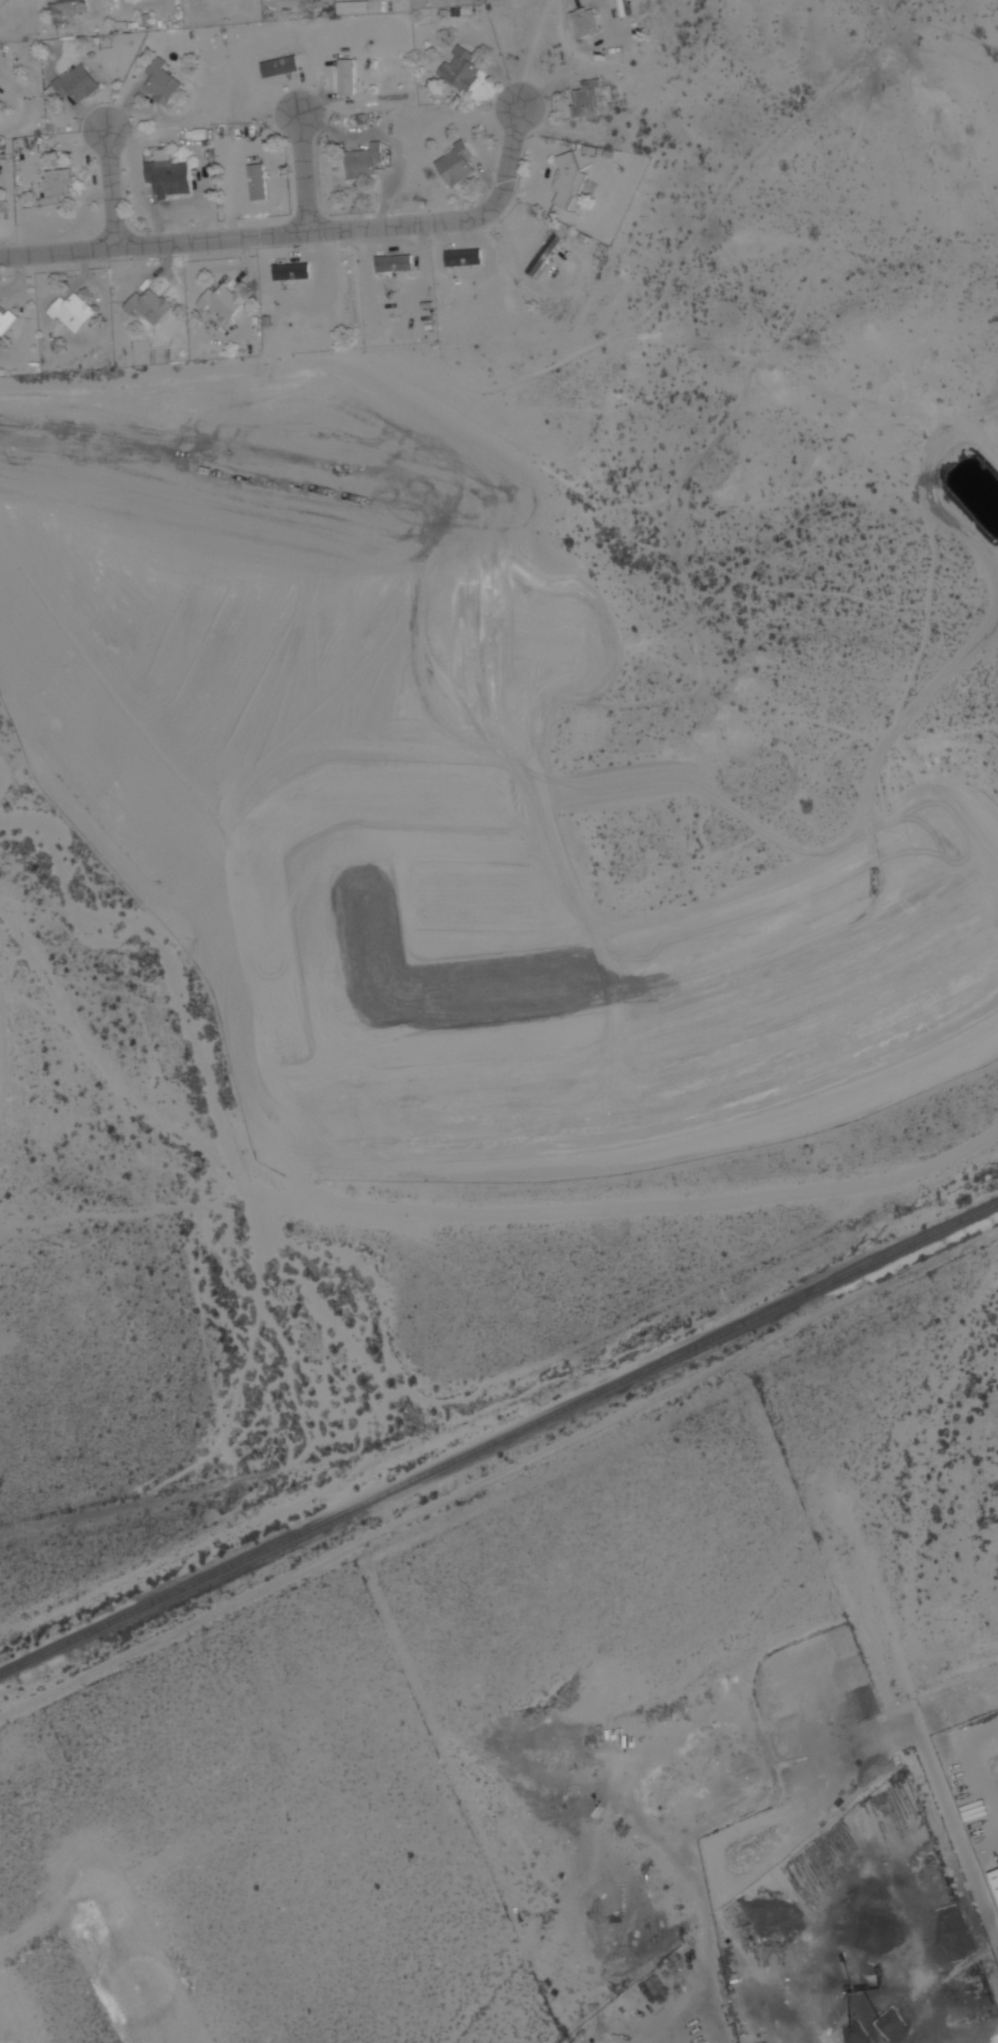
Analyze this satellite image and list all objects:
building: (5, 3)
building: (353, 7)
building: (71, 9)
building: (588, 21)
building: (283, 68)
building: (464, 69)
building: (349, 77)
building: (165, 82)
building: (79, 85)
building: (589, 98)
building: (367, 161)
building: (460, 164)
road: (306, 172)
building: (171, 178)
building: (571, 179)
building: (260, 182)
building: (59, 185)
road: (112, 185)
building: (1, 204)
road: (300, 229)
building: (548, 254)
building: (466, 258)
building: (398, 264)
building: (295, 271)
building: (226, 301)
building: (155, 307)
building: (76, 312)
building: (7, 324)
railway: (498, 1439)

